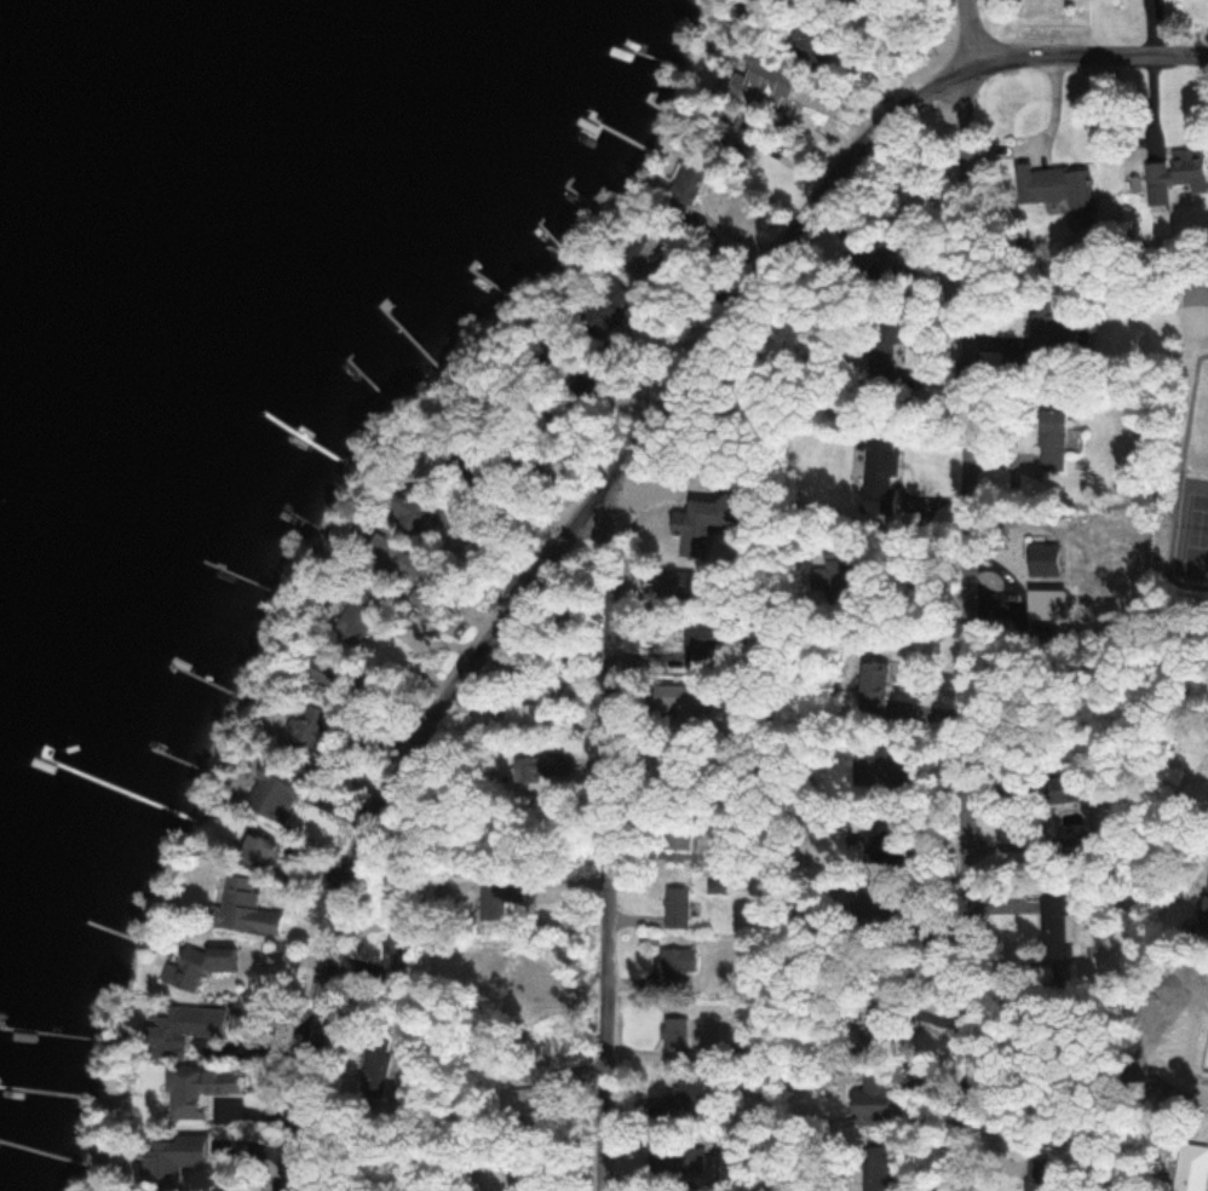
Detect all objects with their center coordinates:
building: (767, 86)
building: (752, 140)
building: (1183, 173)
building: (1053, 183)
building: (688, 185)
building: (913, 192)
building: (893, 257)
building: (603, 317)
park: (1193, 321)
building: (1053, 333)
building: (881, 359)
building: (1055, 439)
building: (880, 473)
park: (1183, 477)
road: (612, 485)
road: (1139, 500)
building: (415, 514)
building: (454, 519)
building: (703, 528)
park: (1193, 535)
building: (675, 582)
road: (957, 594)
building: (426, 597)
building: (353, 623)
building: (704, 641)
building: (326, 671)
building: (874, 689)
building: (685, 702)
building: (527, 717)
building: (297, 727)
building: (539, 766)
building: (876, 770)
building: (1068, 789)
building: (276, 793)
building: (678, 835)
building: (1071, 838)
road: (608, 840)
building: (259, 850)
building: (494, 902)
building: (1206, 904)
building: (243, 907)
building: (677, 907)
building: (1054, 926)
building: (208, 962)
building: (675, 967)
building: (173, 1029)
building: (675, 1034)
building: (378, 1041)
building: (373, 1080)
building: (537, 1092)
building: (690, 1095)
building: (177, 1157)
building: (668, 1164)
building: (1192, 1166)

